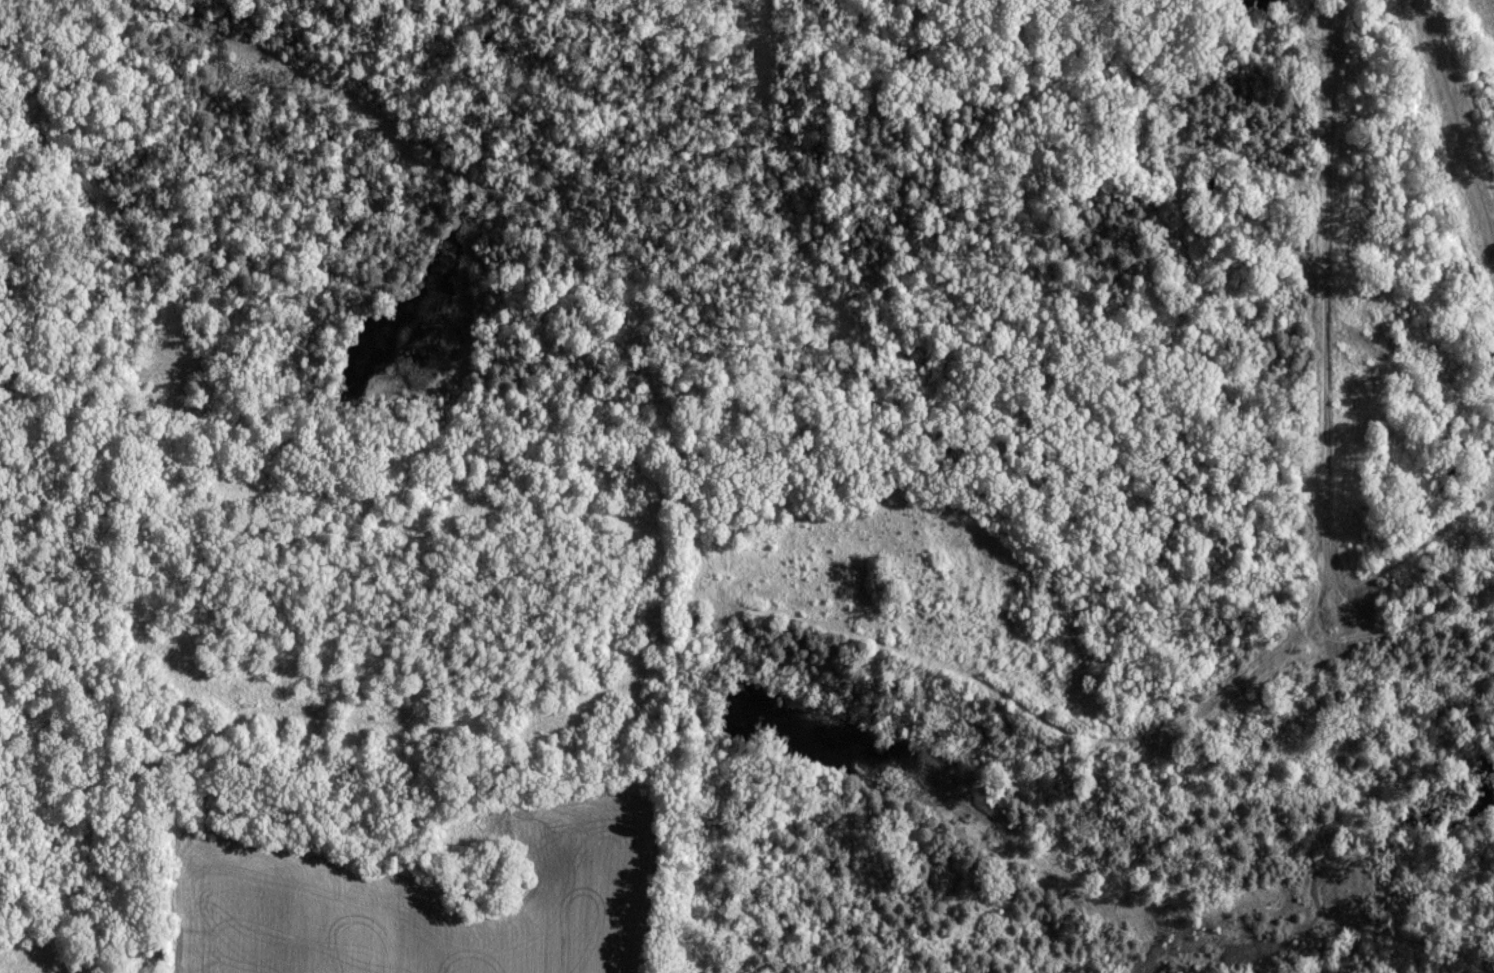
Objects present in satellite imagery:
road: (1459, 127)
road: (1320, 393)

